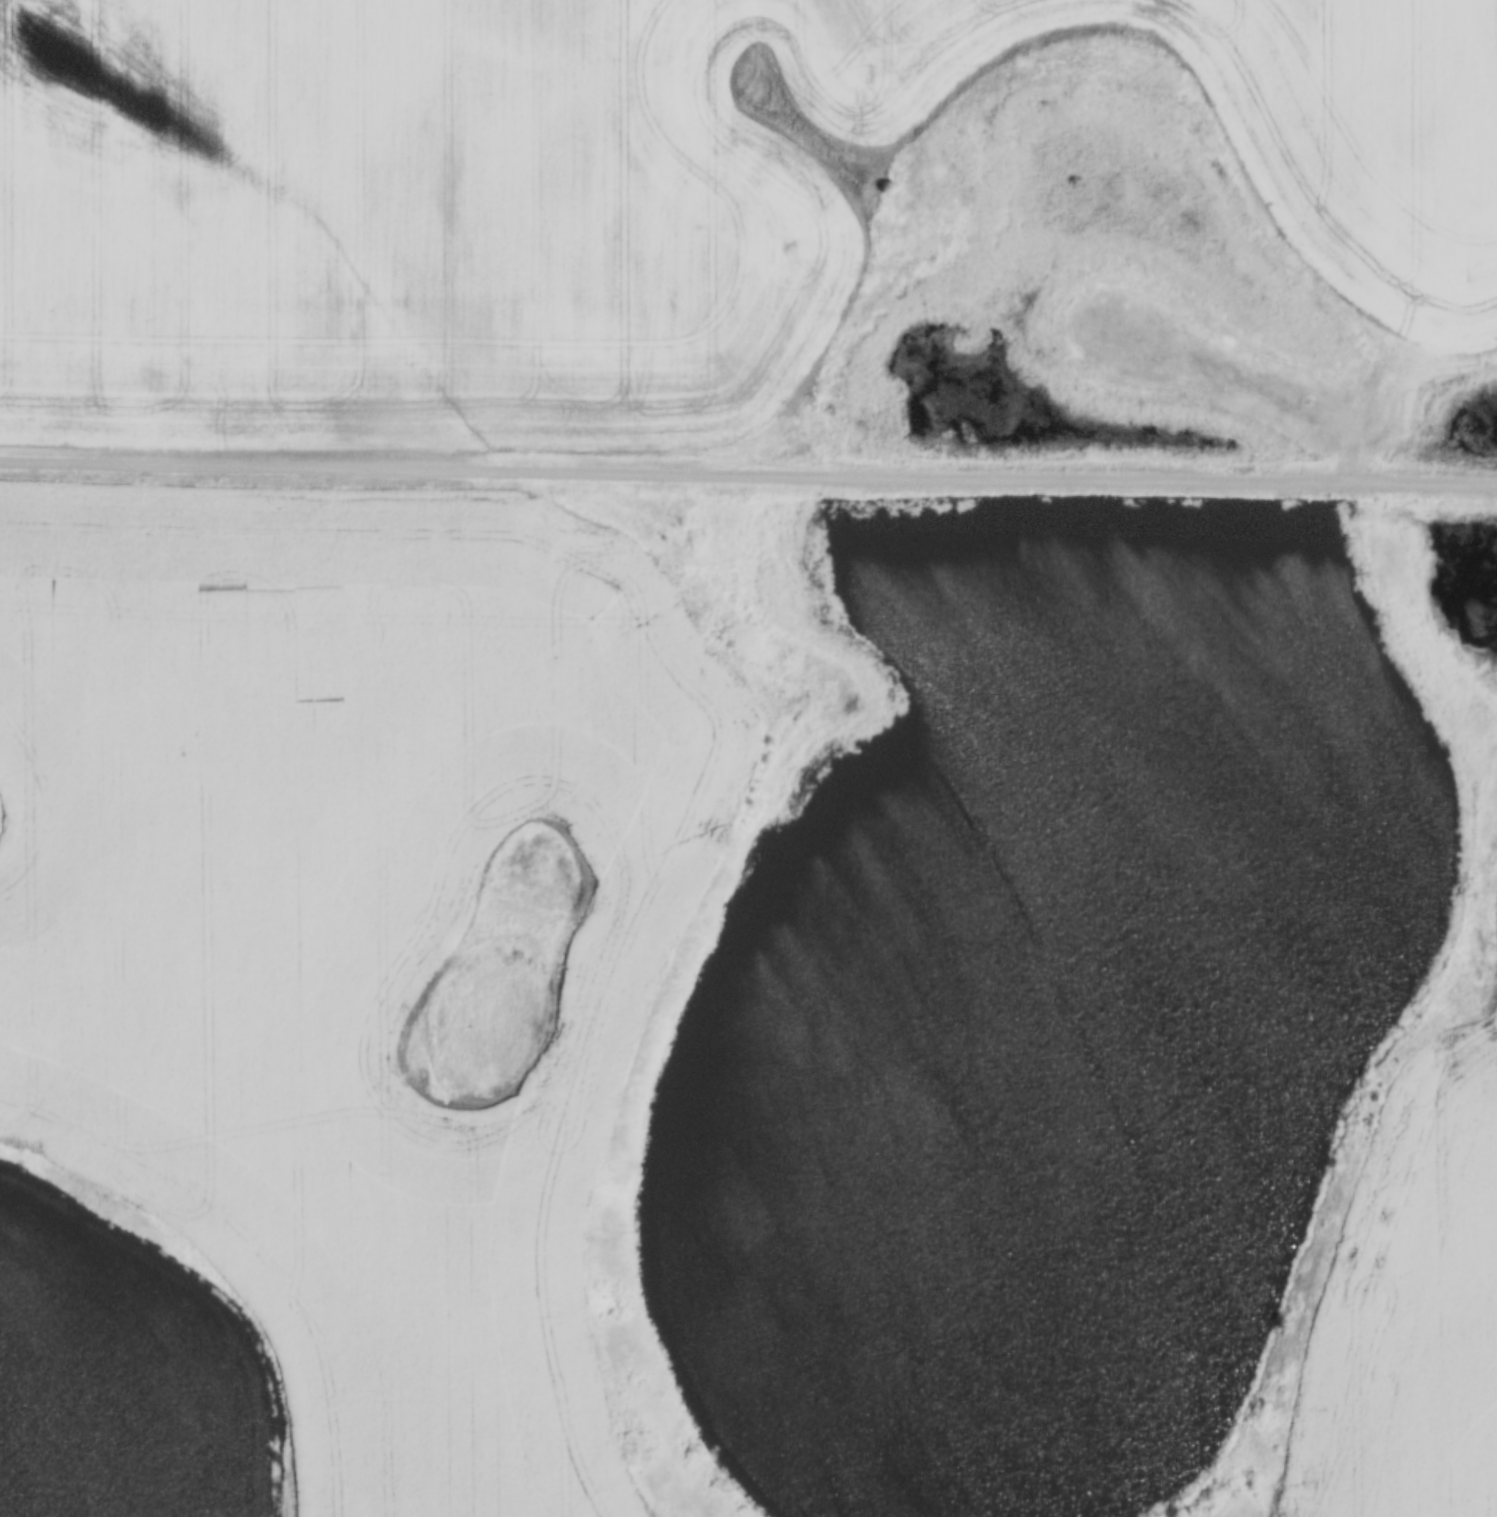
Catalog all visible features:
road: (748, 480)

